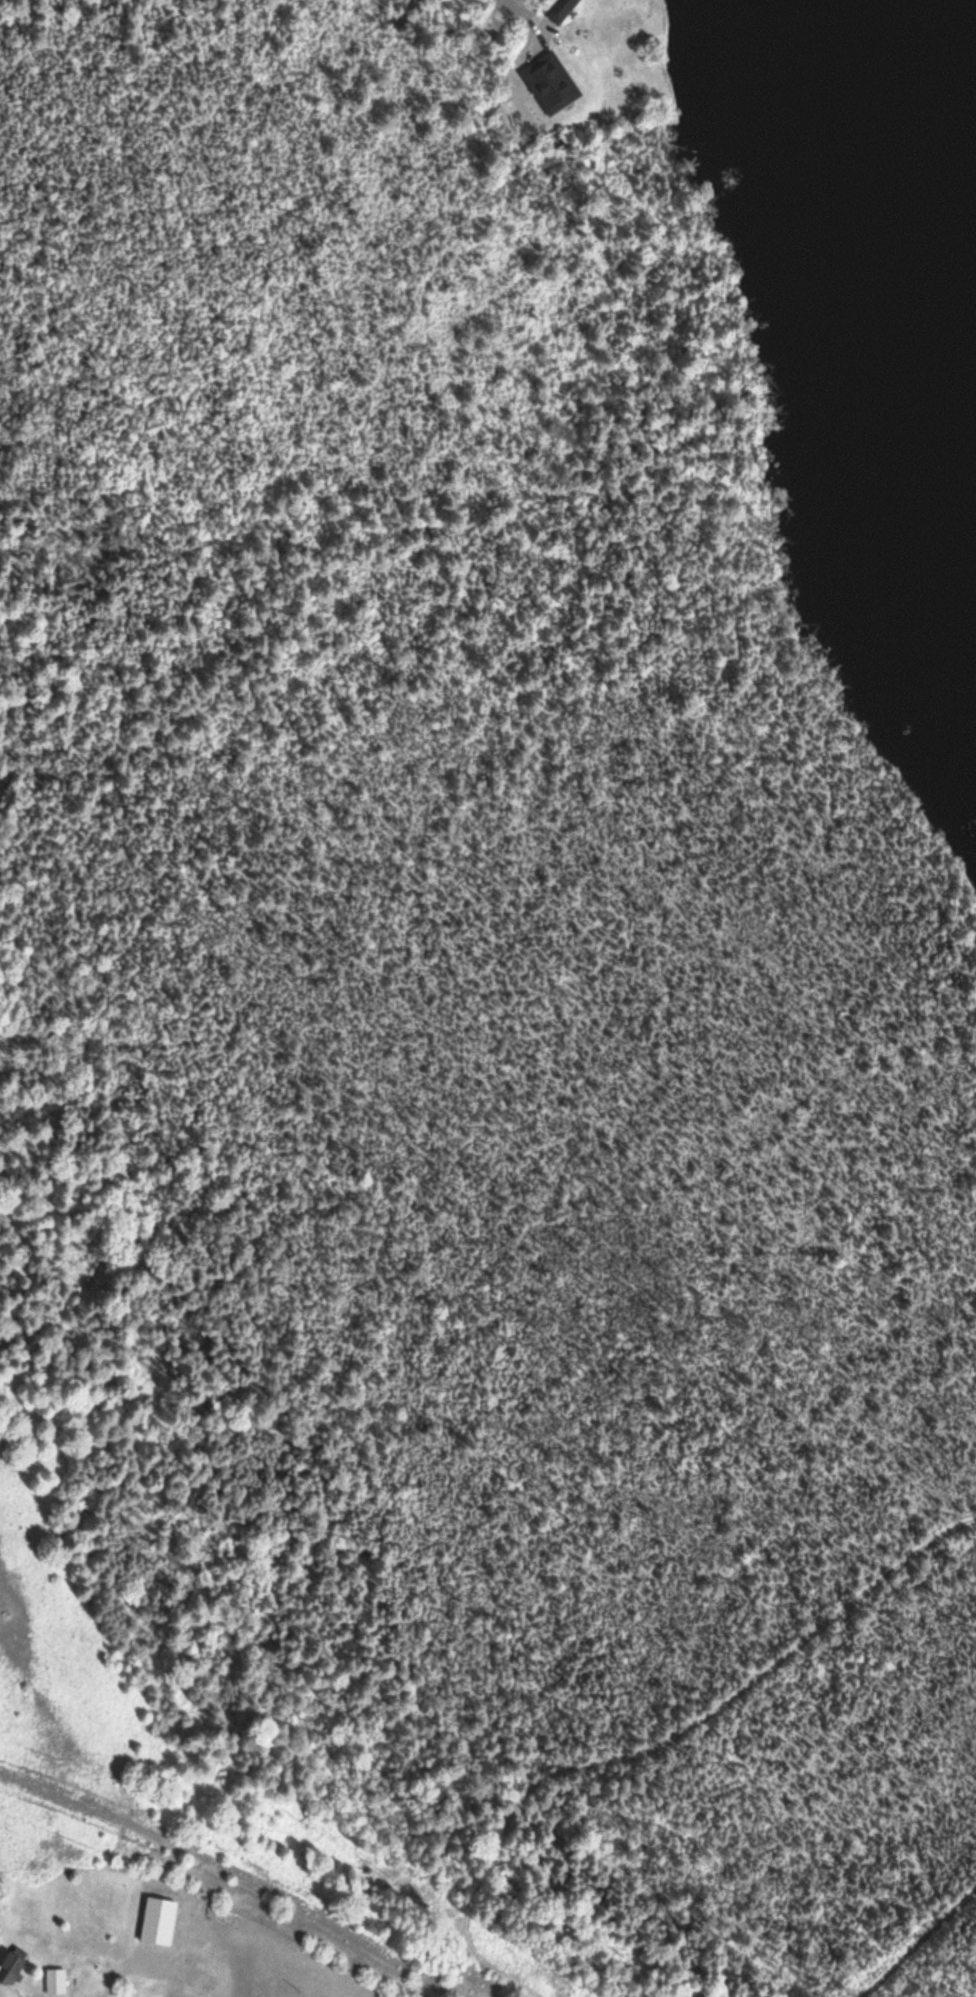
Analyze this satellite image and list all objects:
road: (525, 22)
building: (535, 76)
building: (556, 142)
road: (921, 1939)
building: (13, 1966)
building: (56, 1982)

